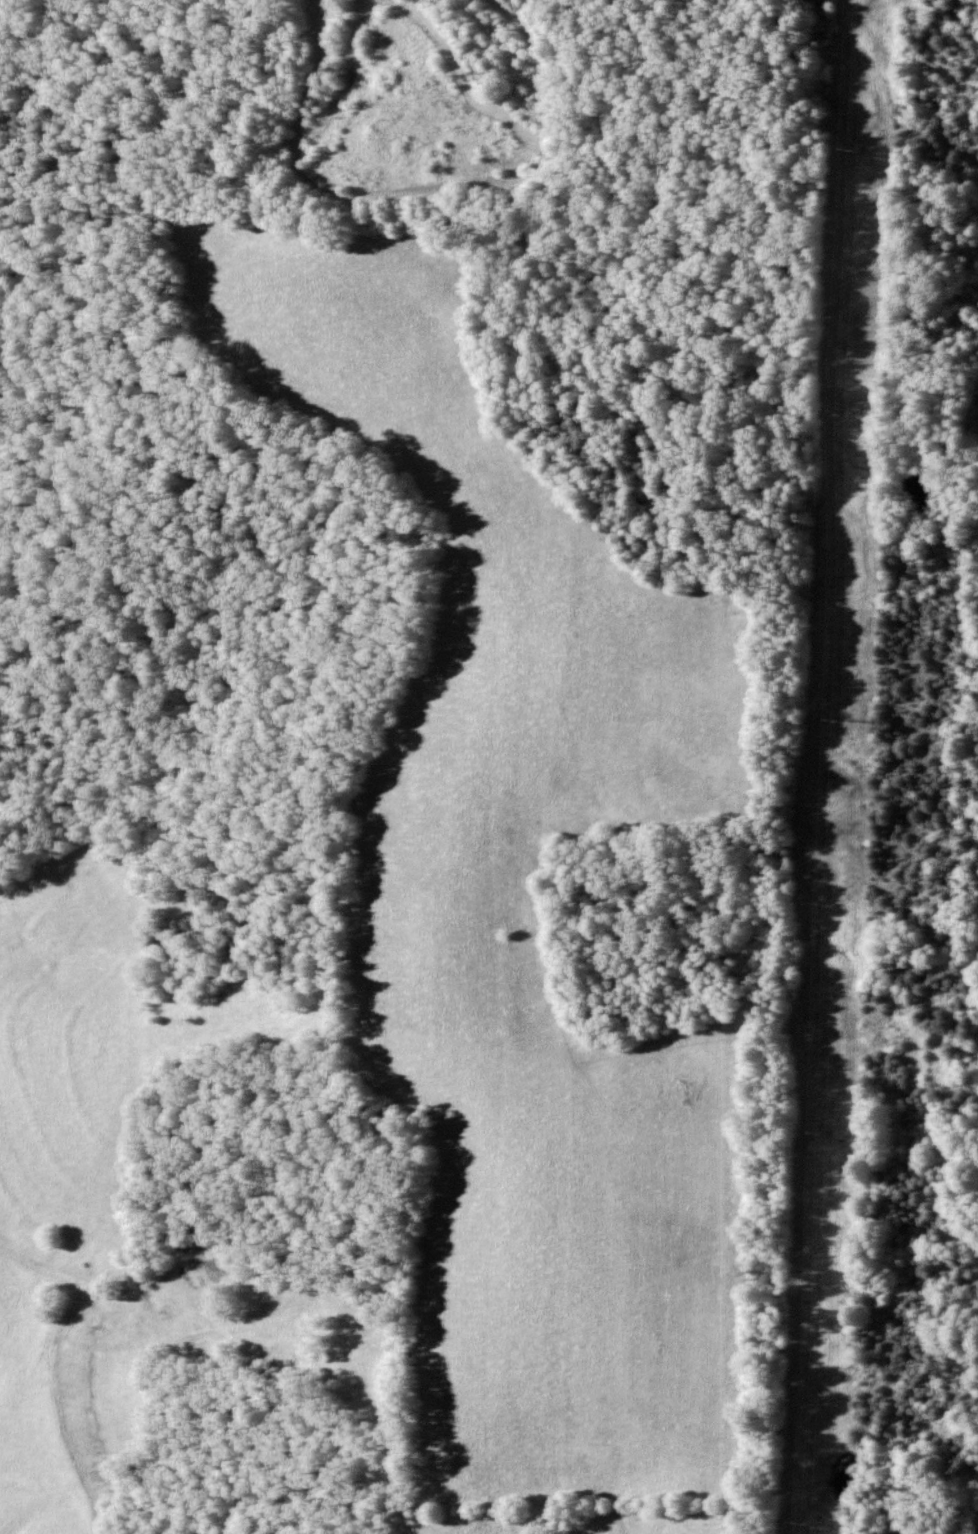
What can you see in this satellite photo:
power tower: (851, 144)
power tower: (837, 722)
power tower: (820, 1134)
power tower: (810, 1523)

